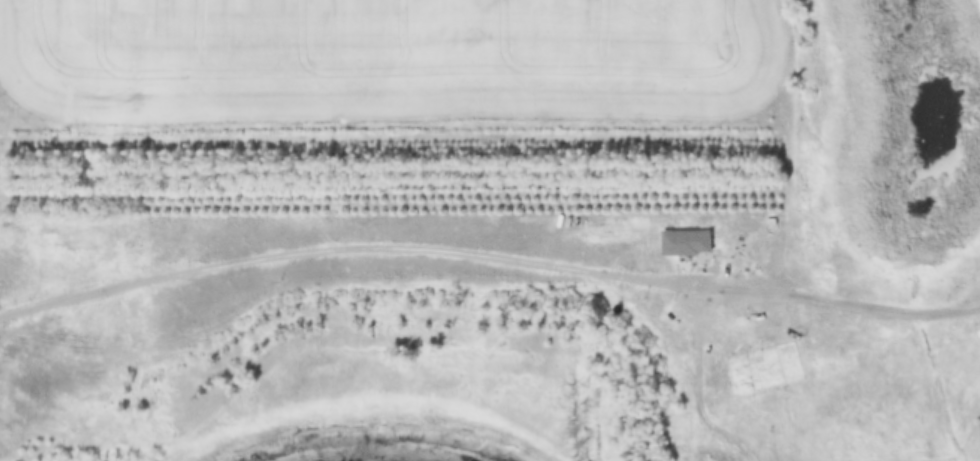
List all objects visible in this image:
road: (488, 257)
building: (685, 365)
building: (841, 367)

